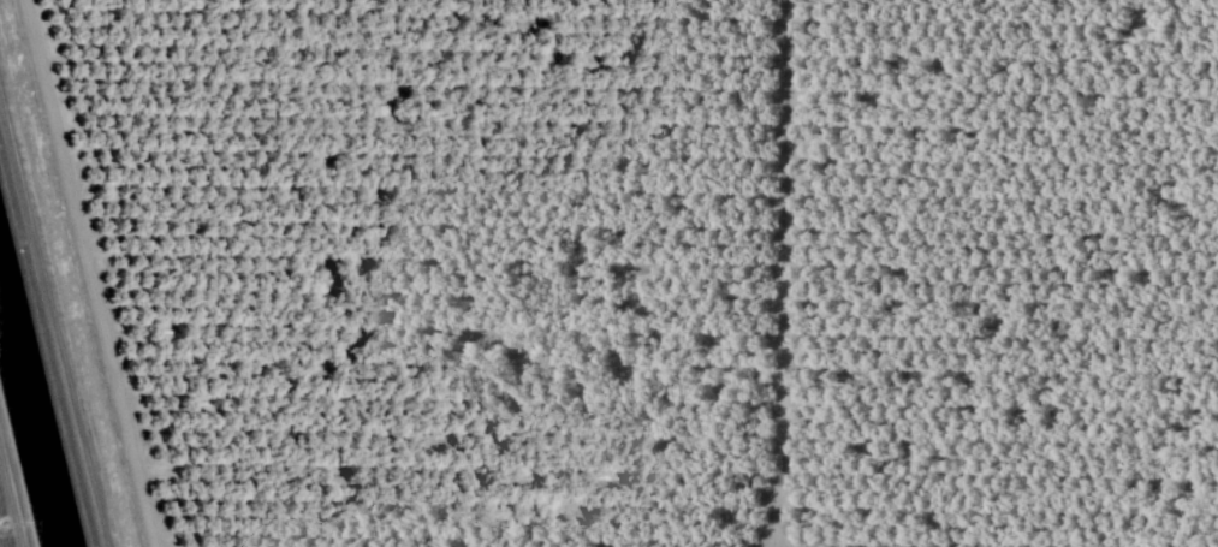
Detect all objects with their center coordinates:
road: (89, 273)
road: (783, 275)
road: (52, 331)

